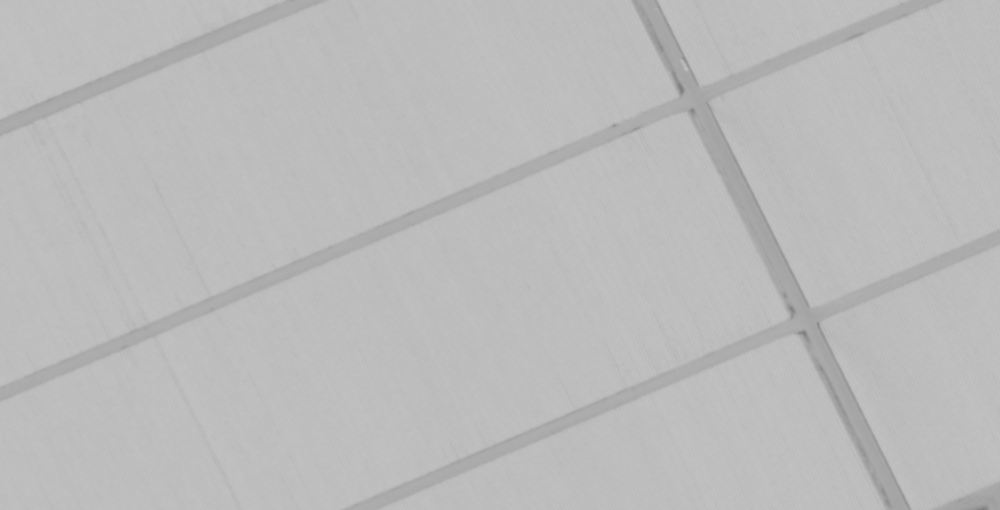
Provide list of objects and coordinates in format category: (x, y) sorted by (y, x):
crop: (97, 40)
crop: (293, 150)
crop: (876, 203)
crop: (408, 345)
crop: (682, 448)
crop: (981, 507)

